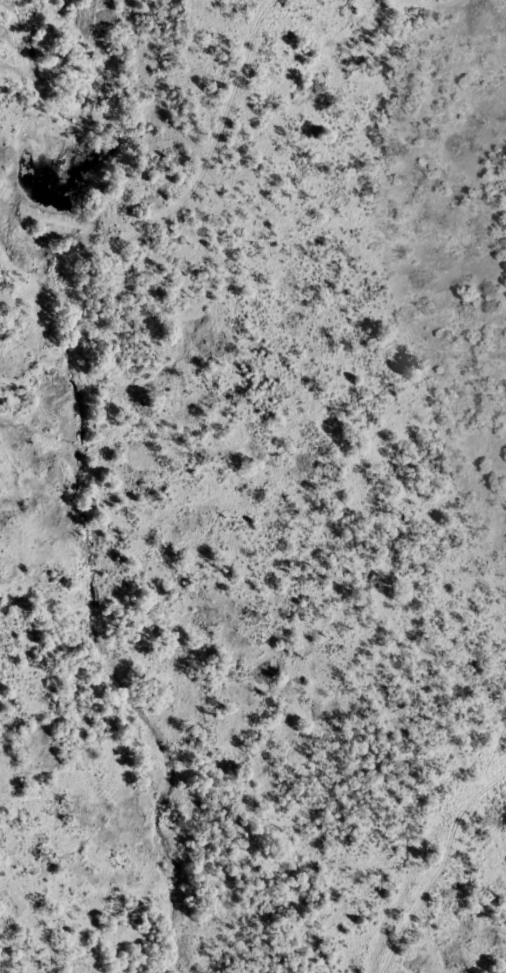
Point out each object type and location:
road: (437, 4)
road: (184, 199)
road: (441, 866)

